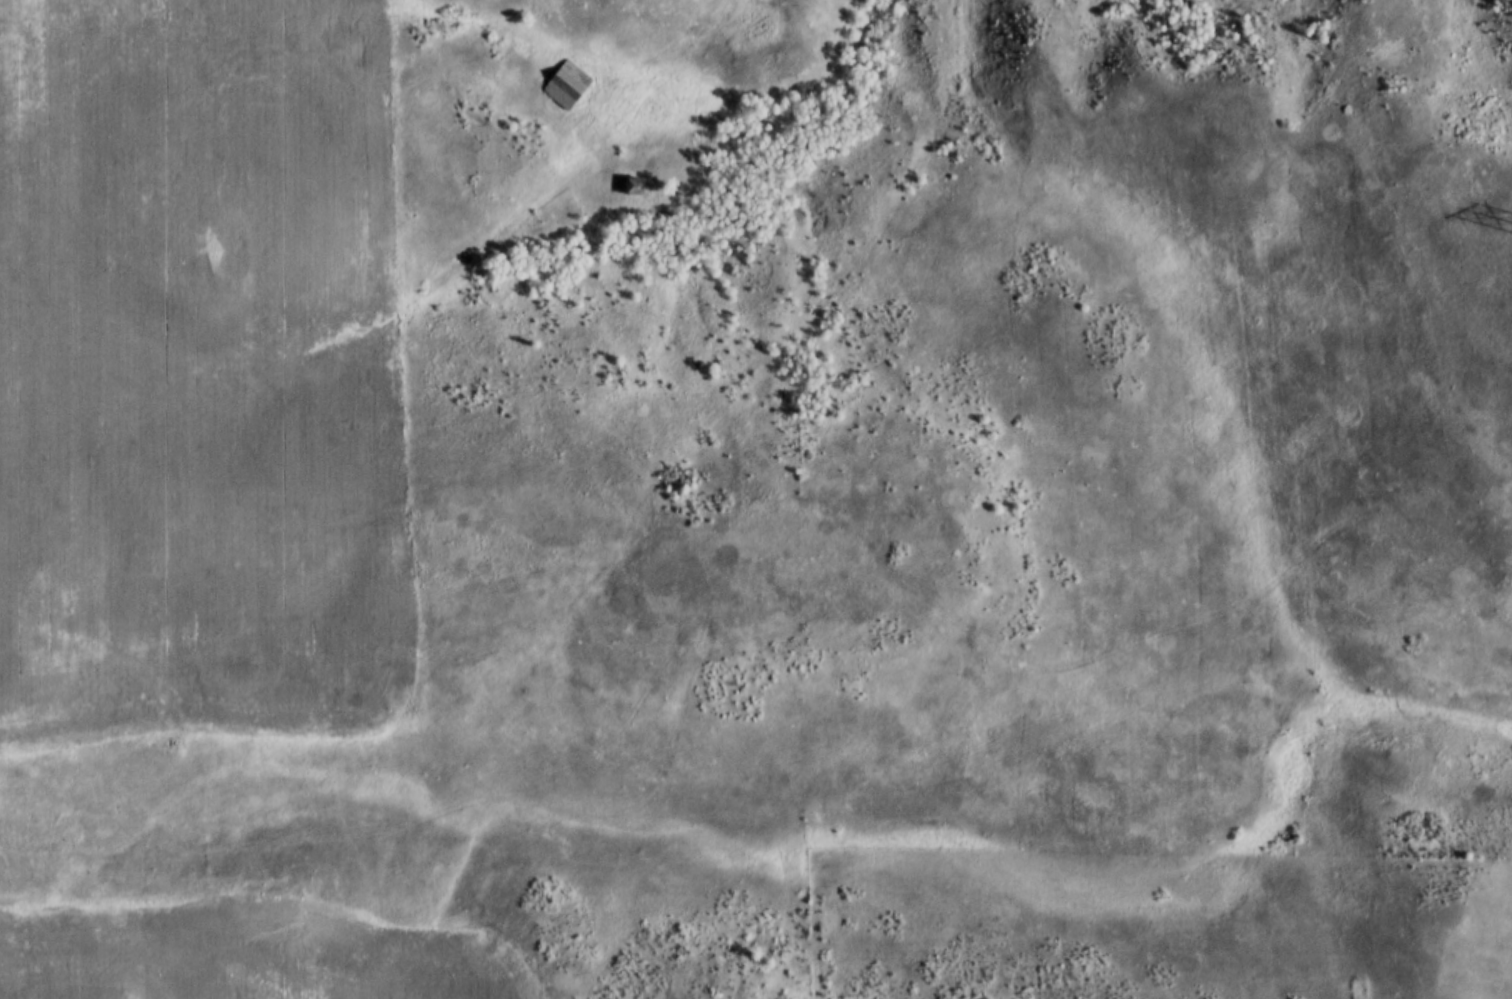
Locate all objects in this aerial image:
building: (569, 86)
road: (419, 618)

